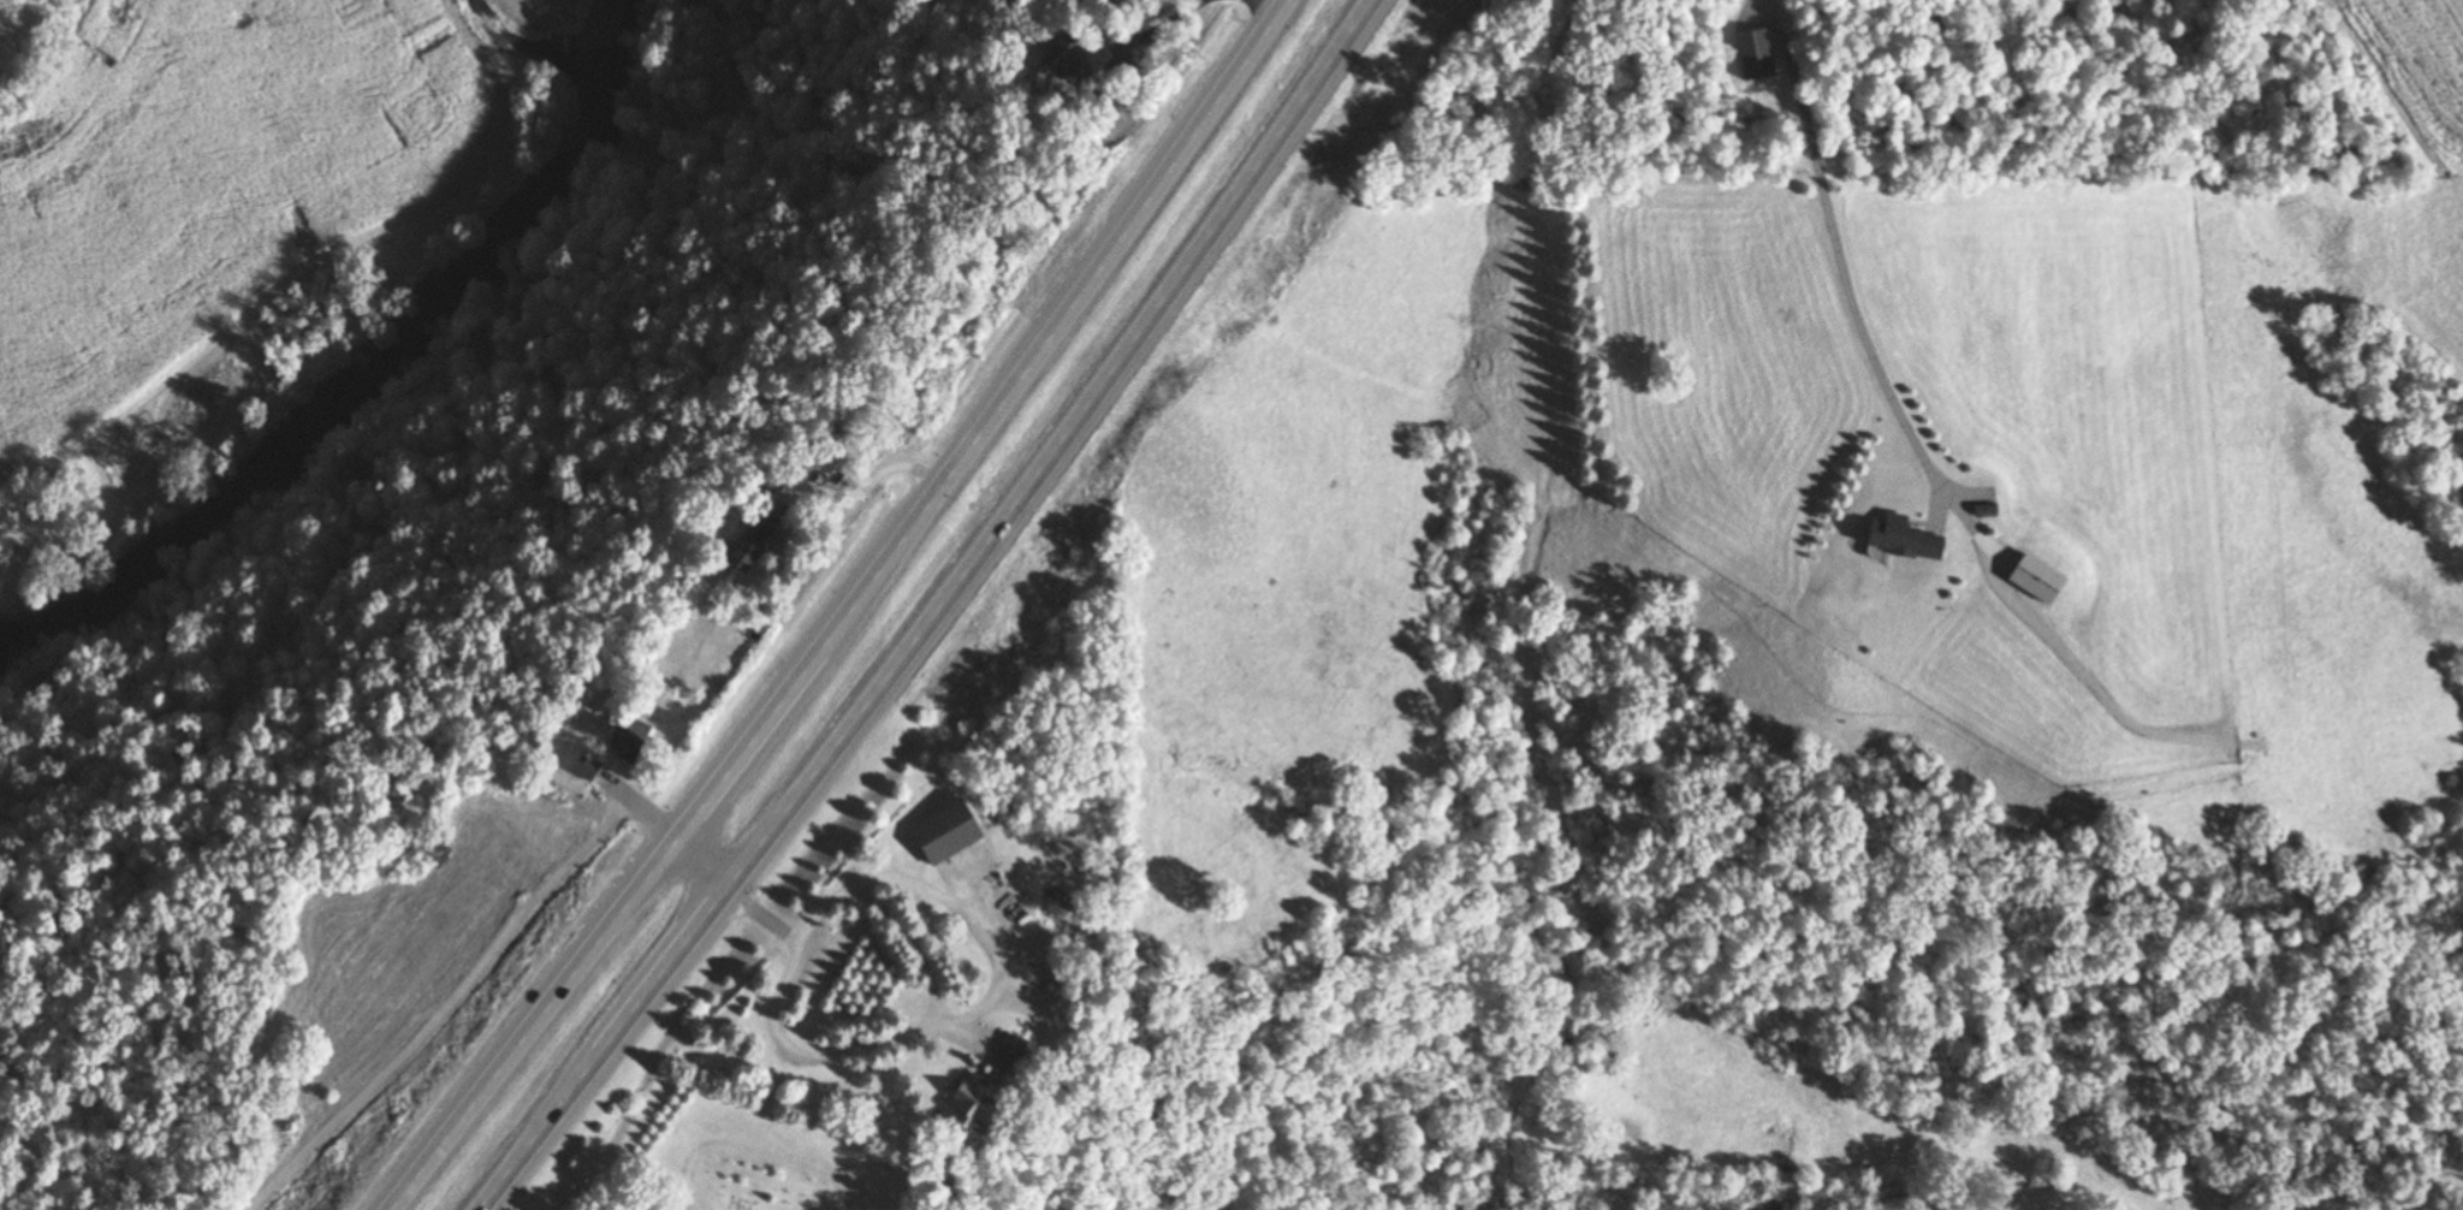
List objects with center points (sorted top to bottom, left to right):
road: (1763, 0)
road: (1194, 1)
road: (1260, 10)
building: (1750, 53)
building: (1060, 65)
building: (1121, 87)
road: (1852, 303)
river: (369, 382)
road: (873, 478)
building: (1893, 538)
building: (735, 550)
road: (853, 613)
road: (940, 616)
building: (624, 740)
building: (581, 766)
building: (937, 831)
road: (503, 938)
road: (974, 1012)
building: (995, 1055)
building: (952, 1103)

